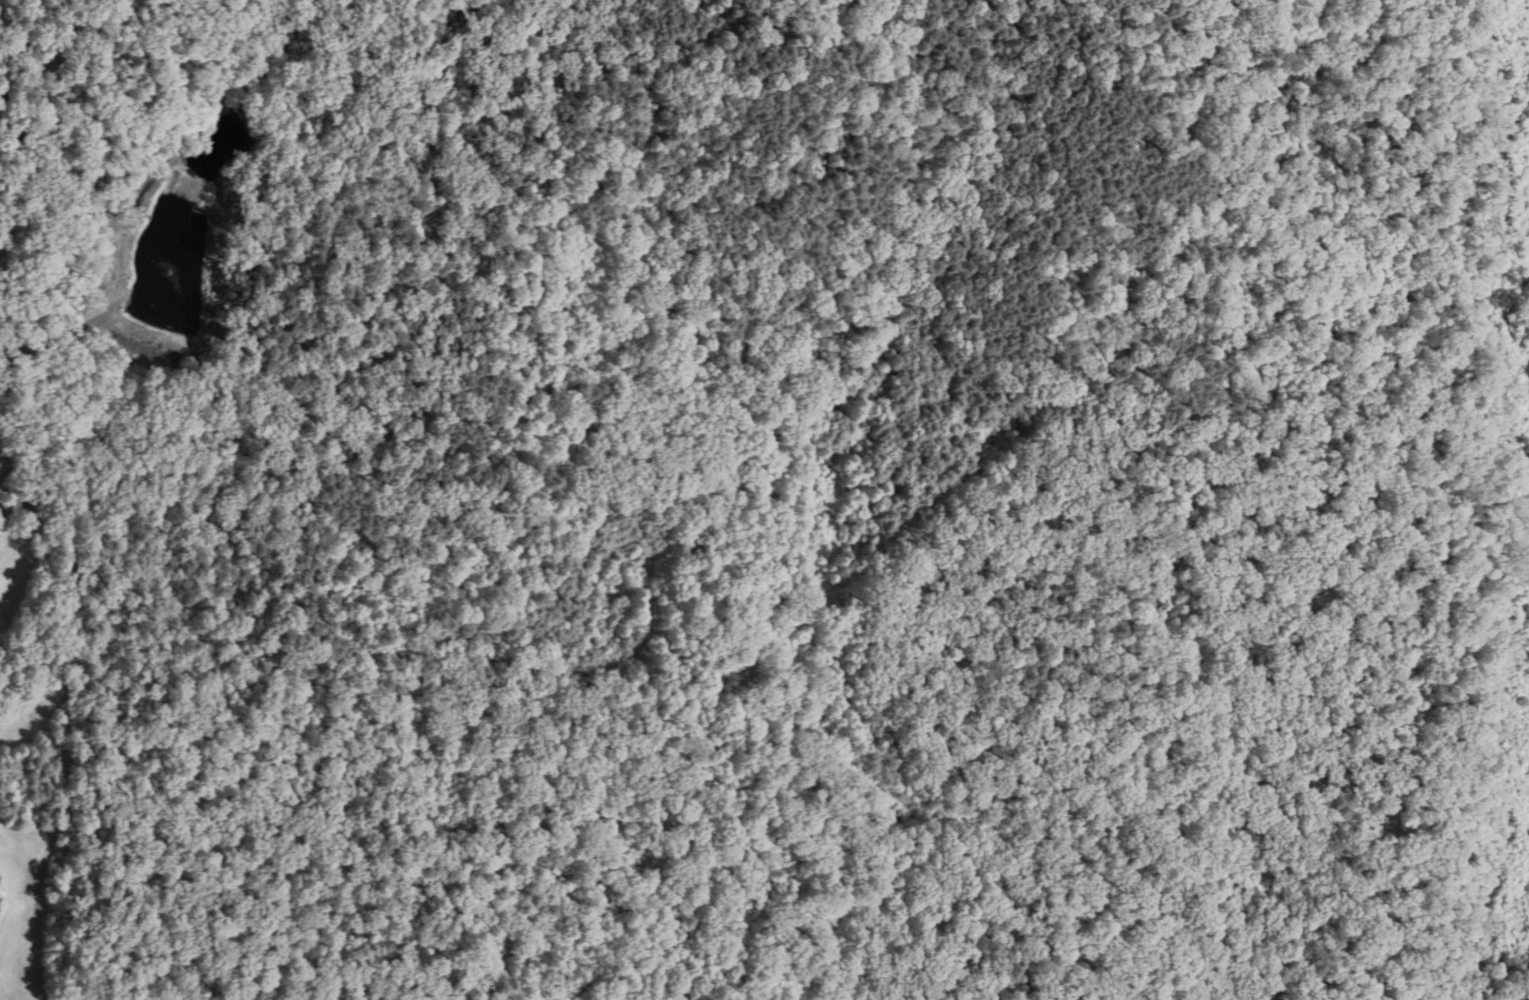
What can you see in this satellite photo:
road: (18, 58)

